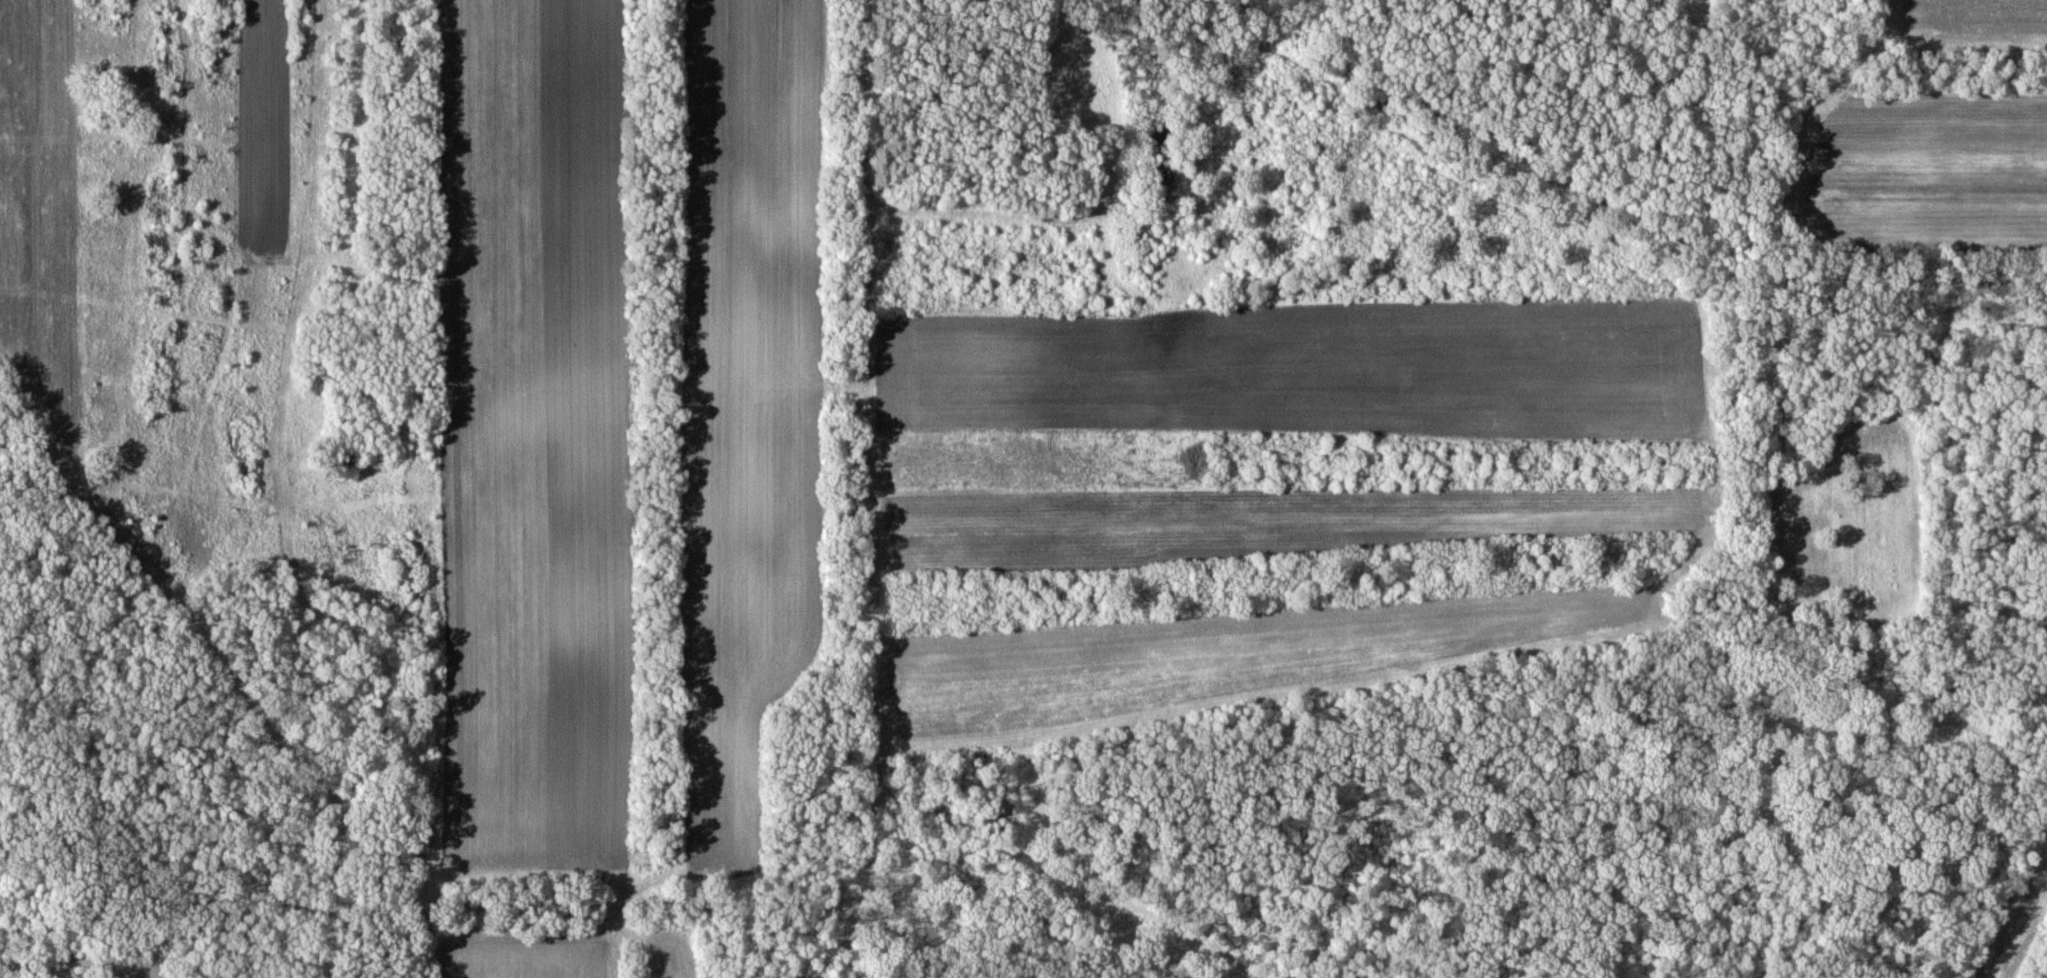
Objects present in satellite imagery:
road: (482, 910)

